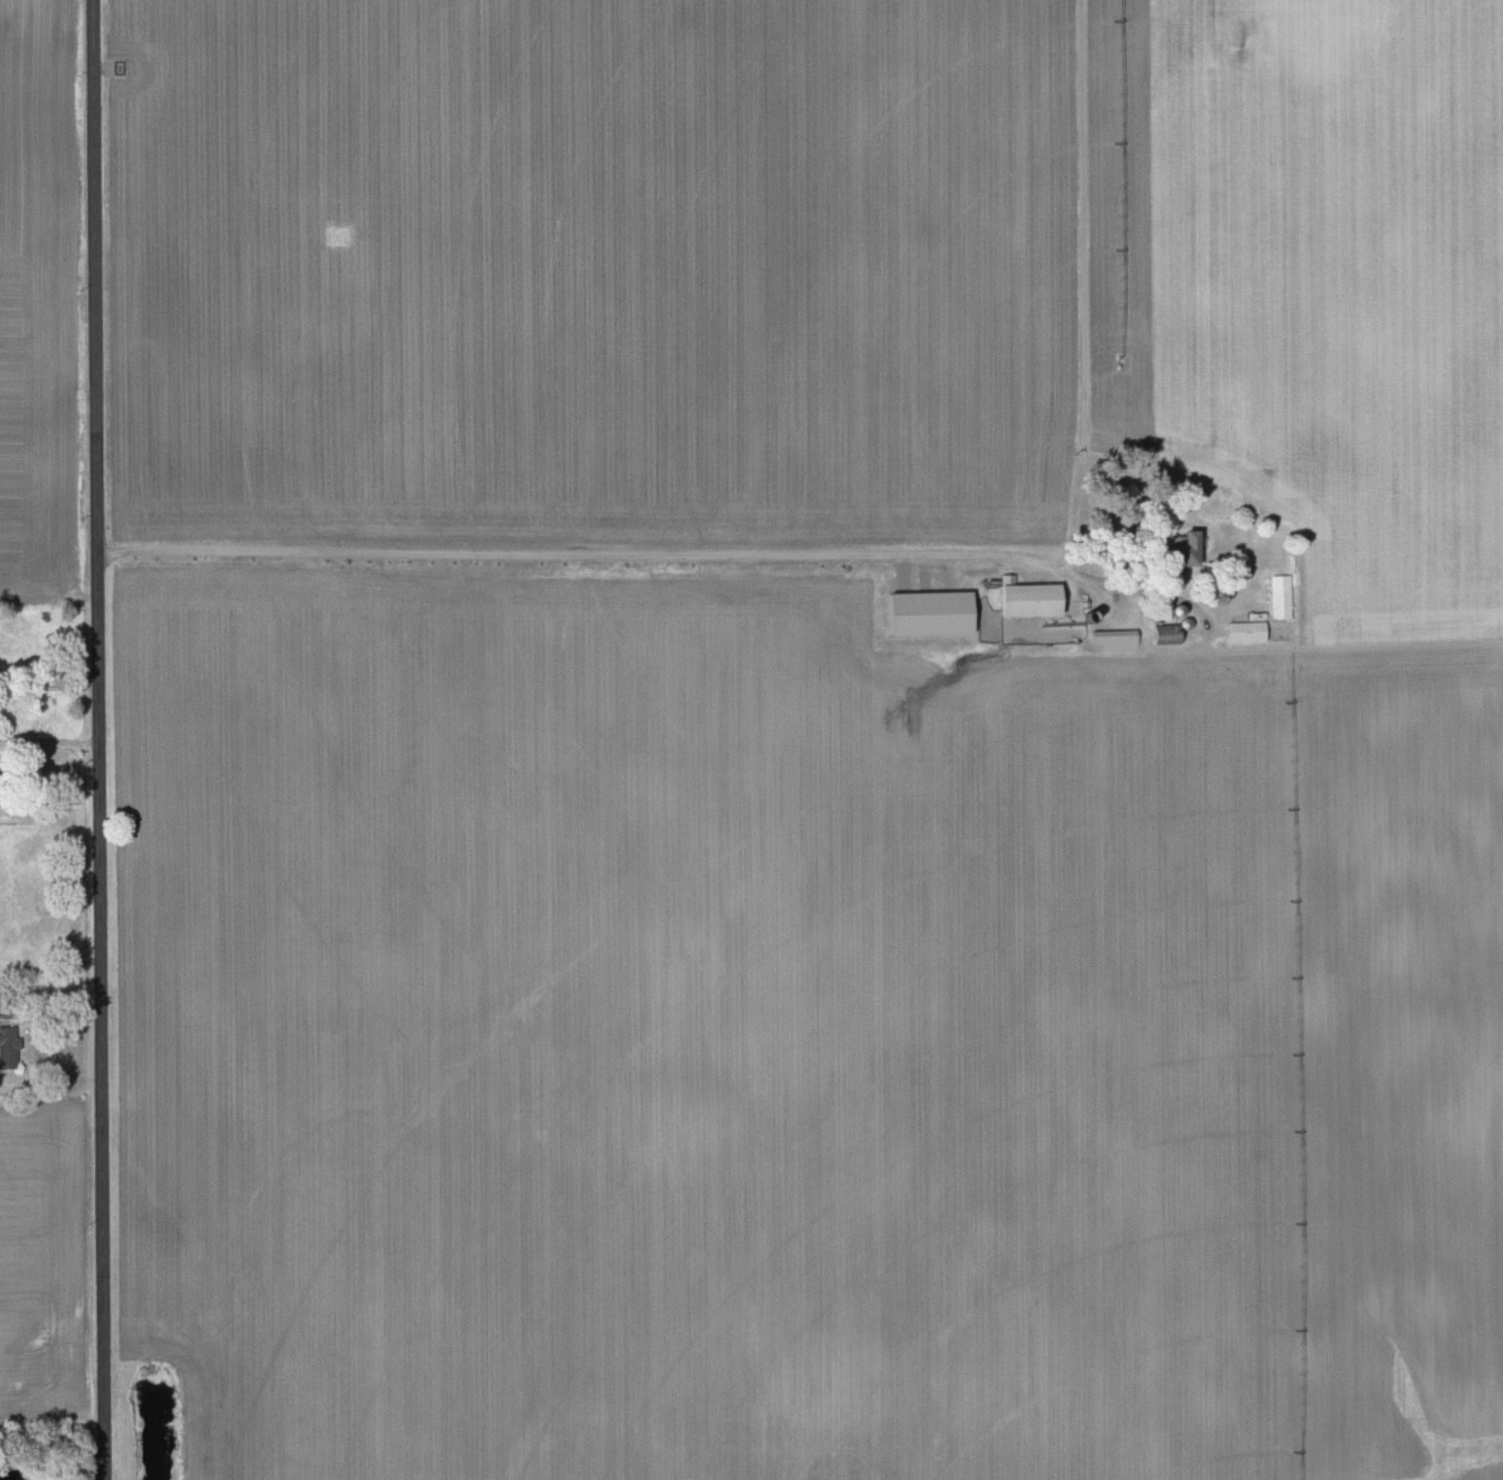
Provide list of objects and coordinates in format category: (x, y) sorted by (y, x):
road: (860, 527)
building: (1181, 549)
building: (1280, 596)
building: (1025, 600)
building: (1159, 611)
building: (1245, 631)
building: (1163, 633)
building: (1113, 639)
road: (49, 690)
road: (99, 740)
road: (49, 751)
building: (6, 1048)

